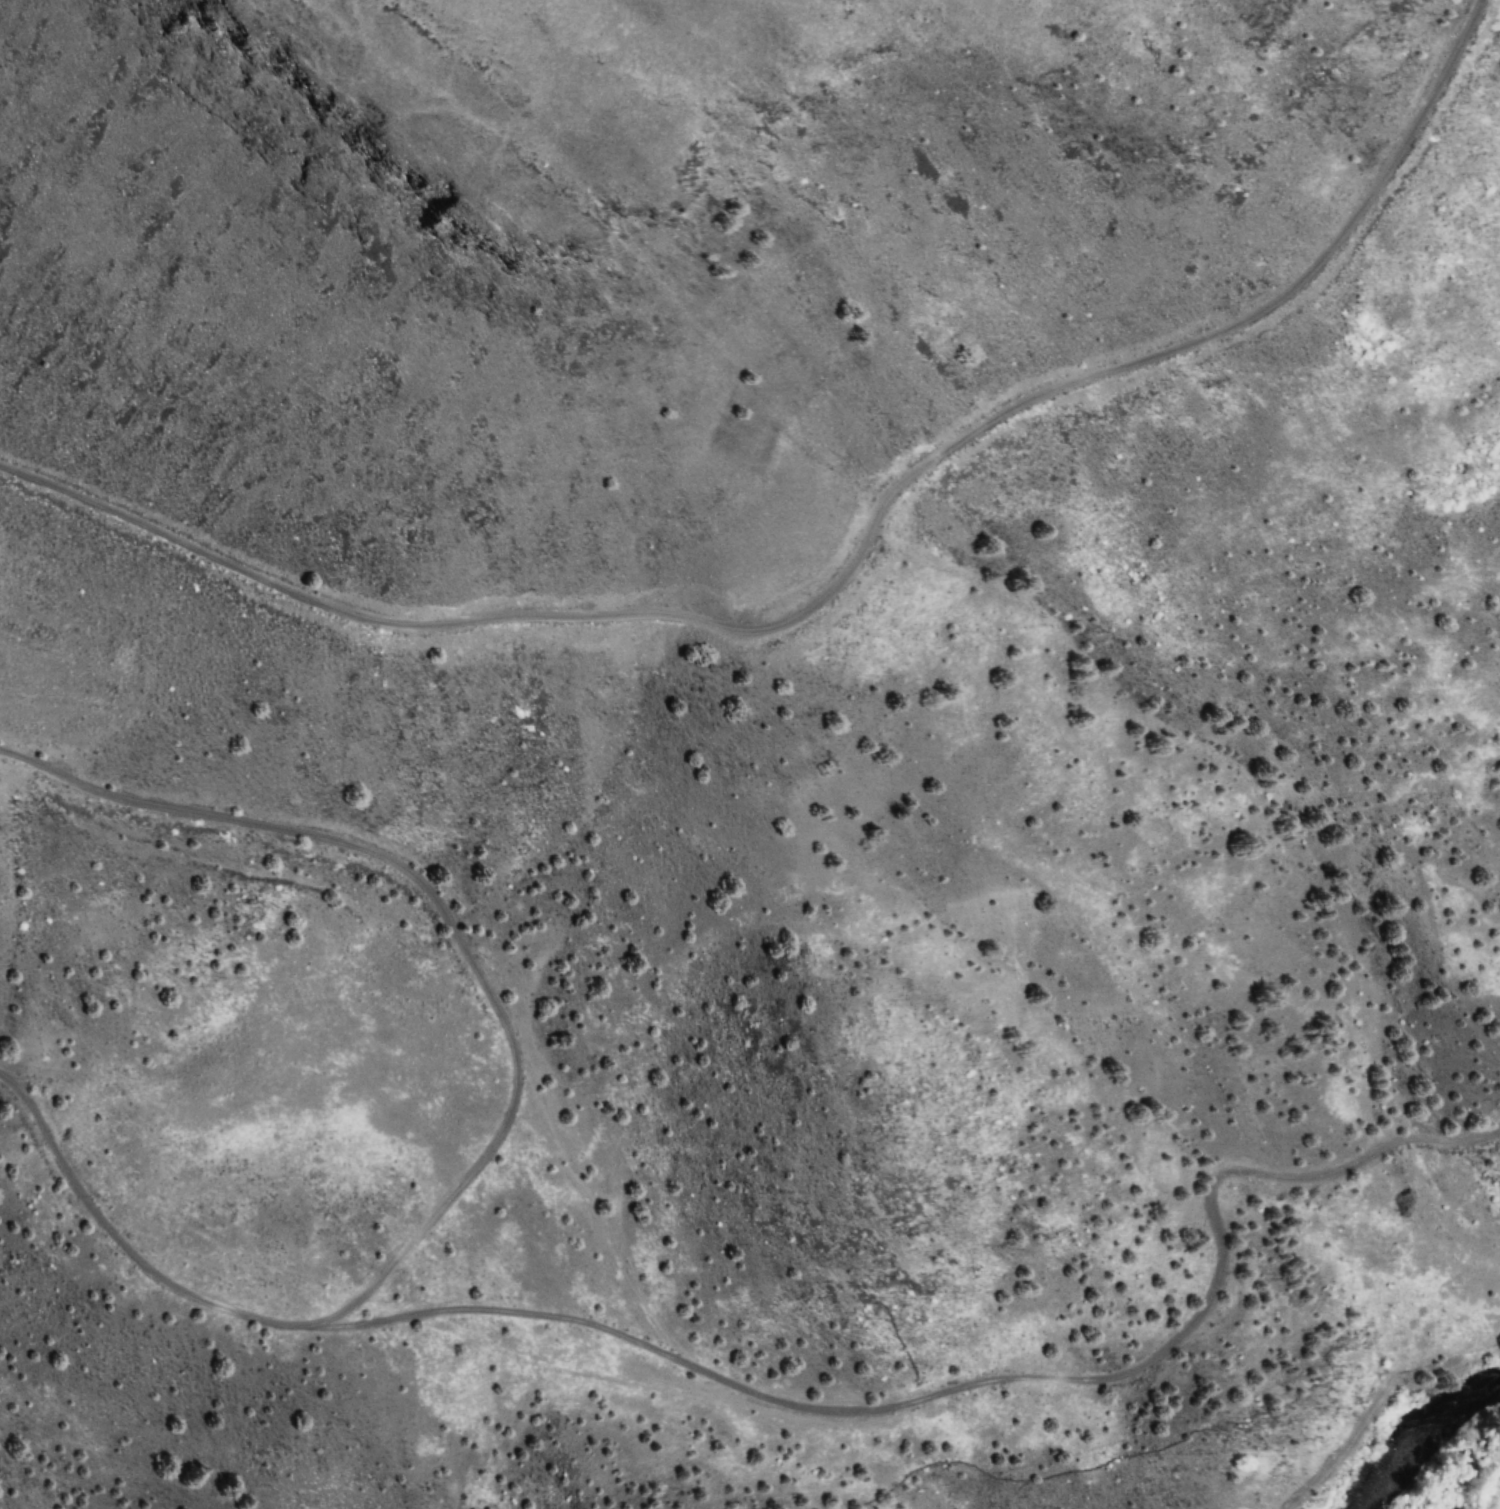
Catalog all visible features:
river: (1426, 1440)

